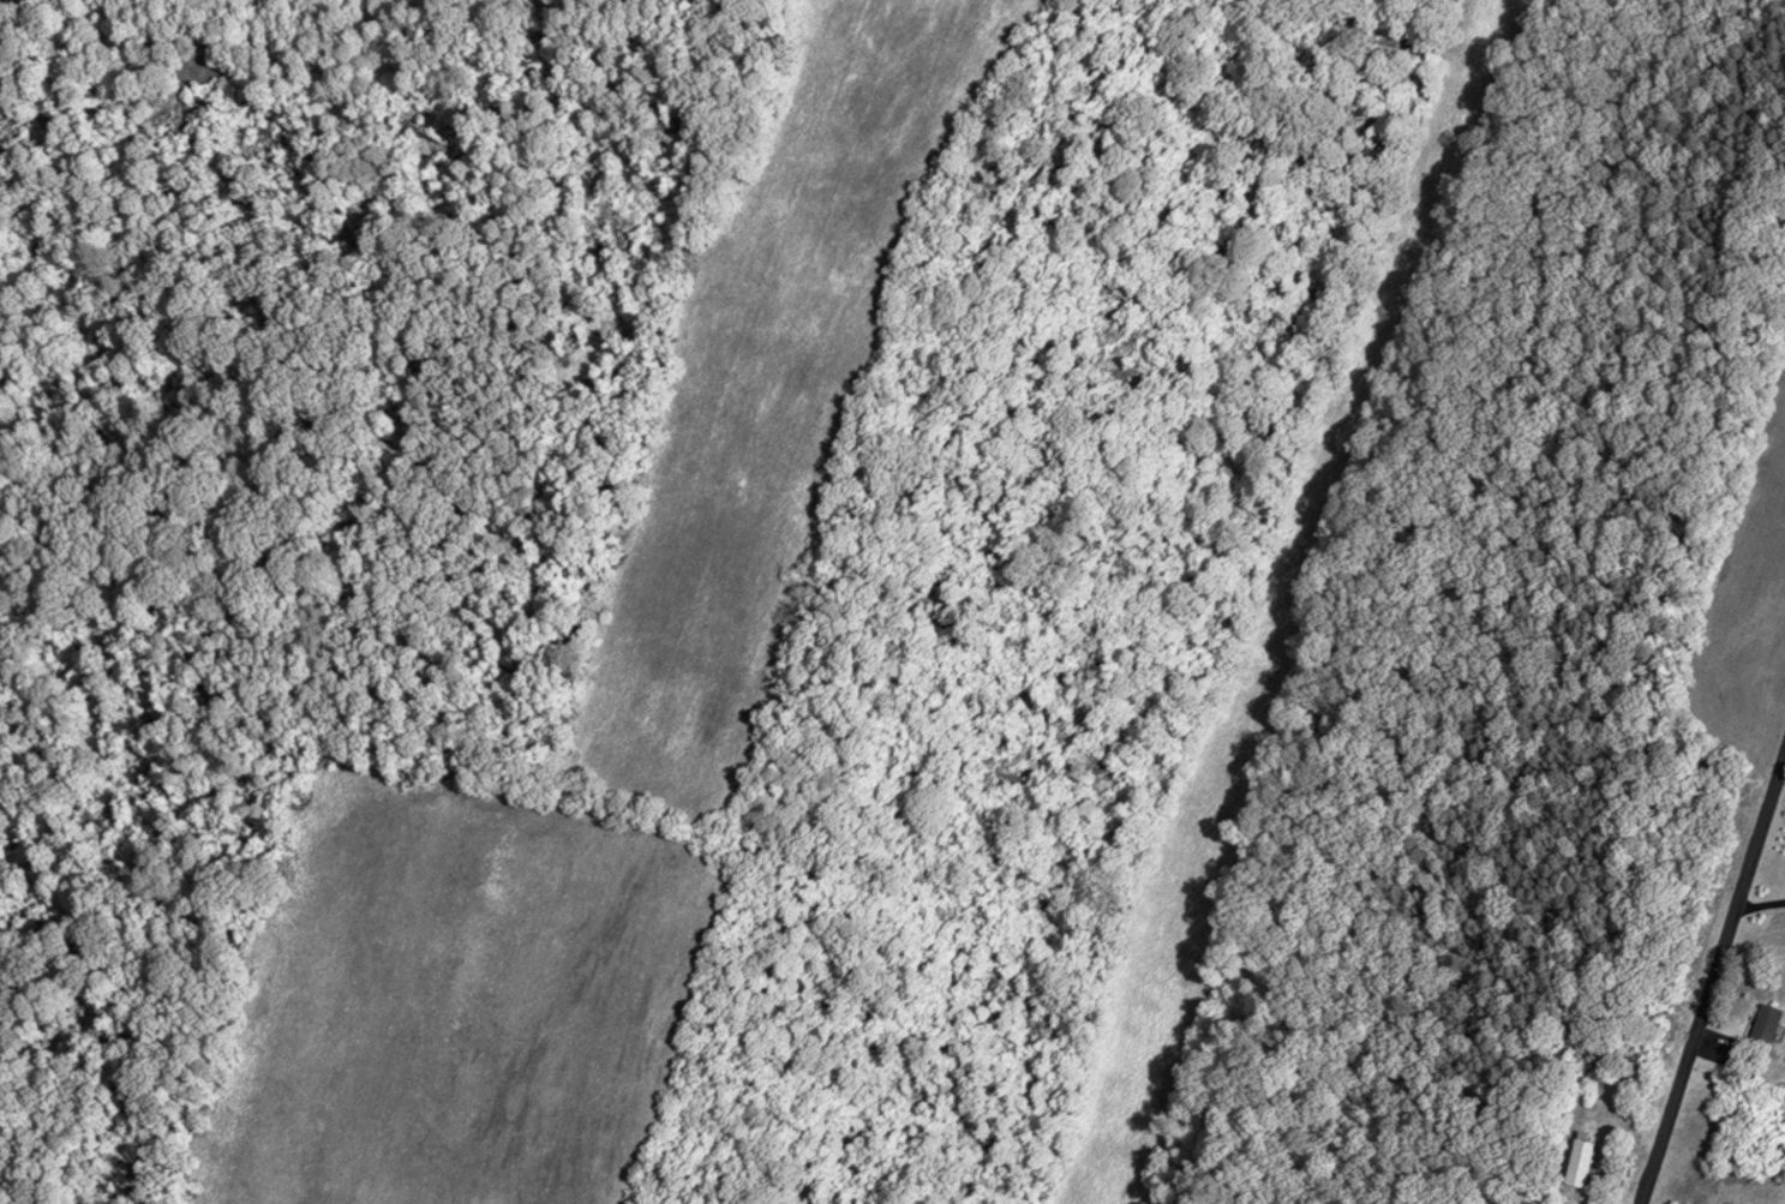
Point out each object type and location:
road: (1312, 592)
road: (1713, 976)
building: (1767, 1024)
building: (1580, 1163)

